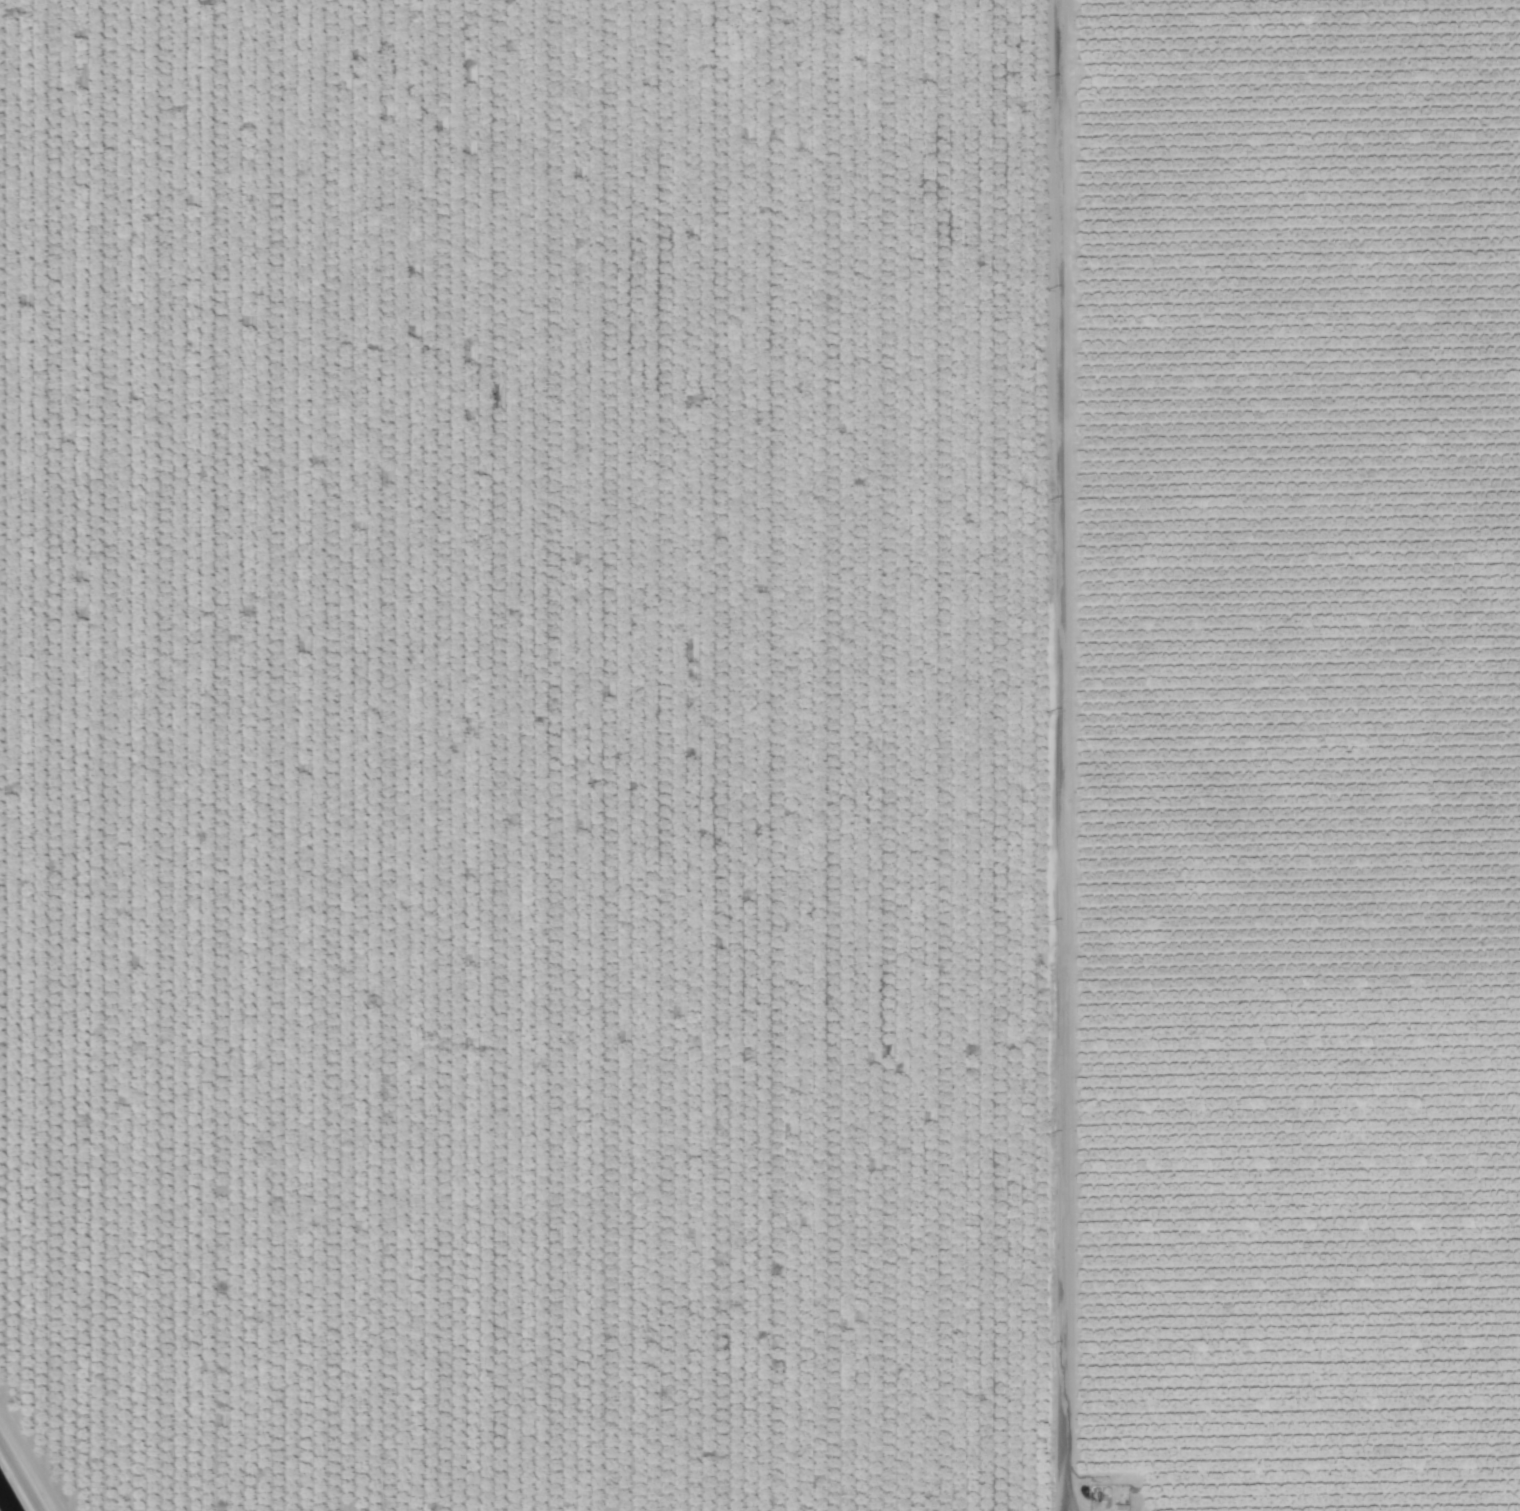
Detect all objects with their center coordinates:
road: (1076, 755)

